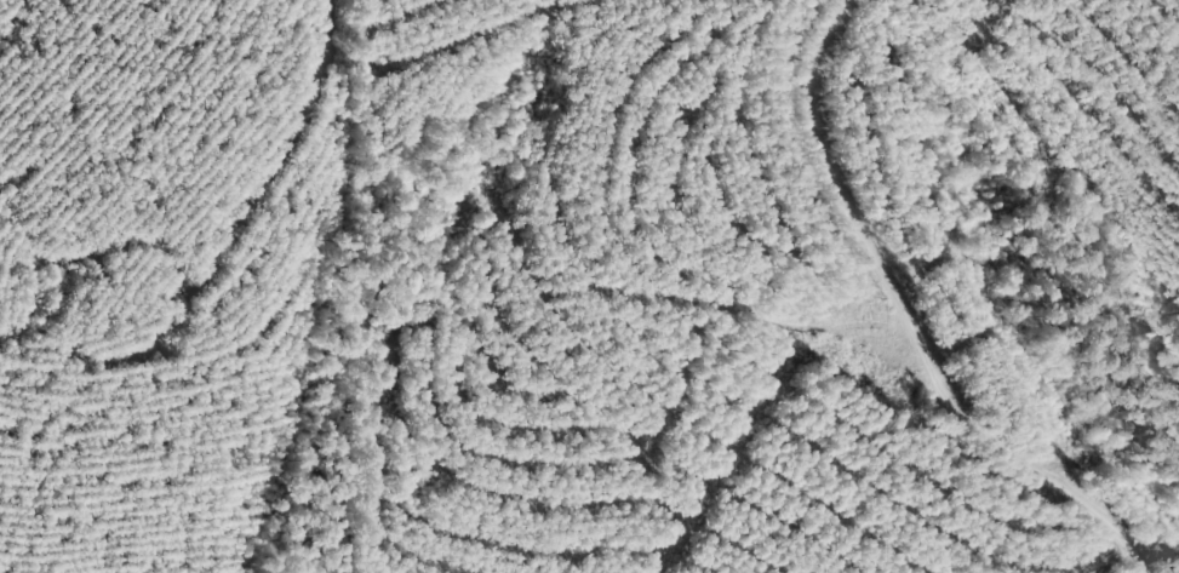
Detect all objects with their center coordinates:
road: (904, 323)

